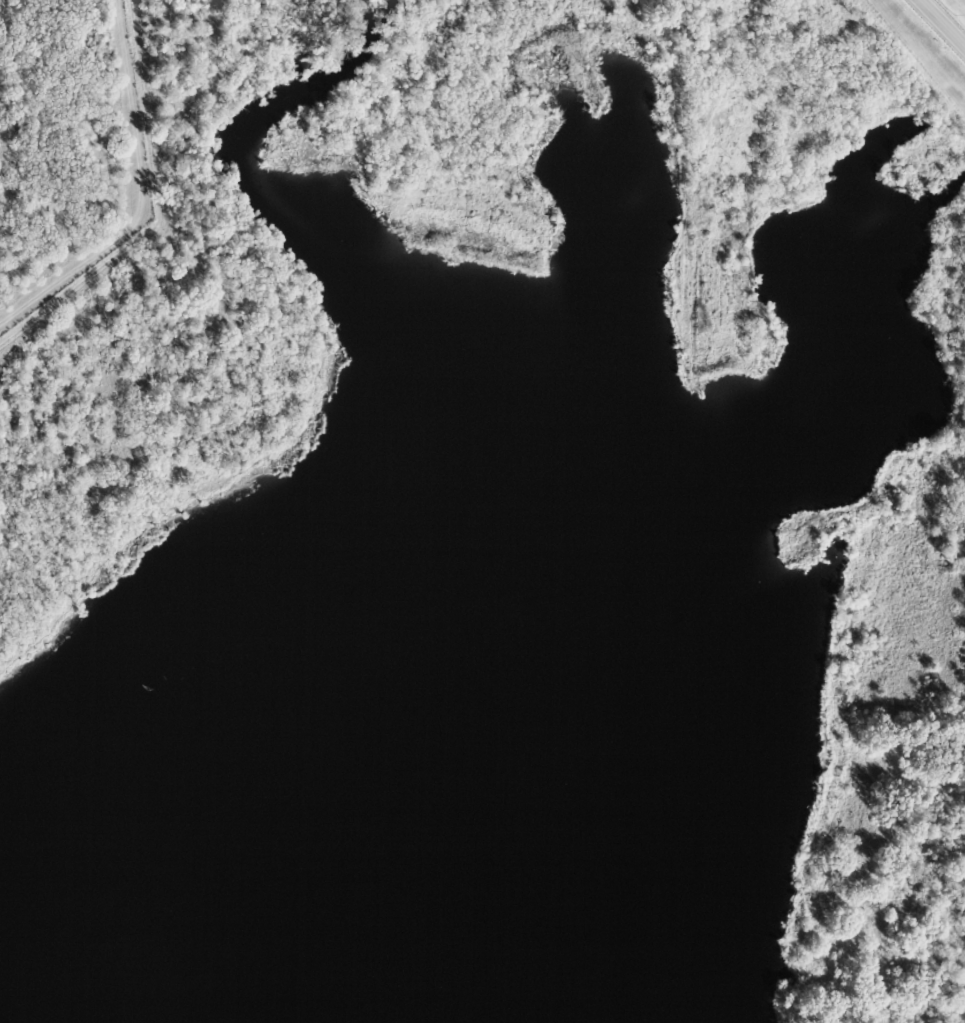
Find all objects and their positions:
road: (941, 24)

